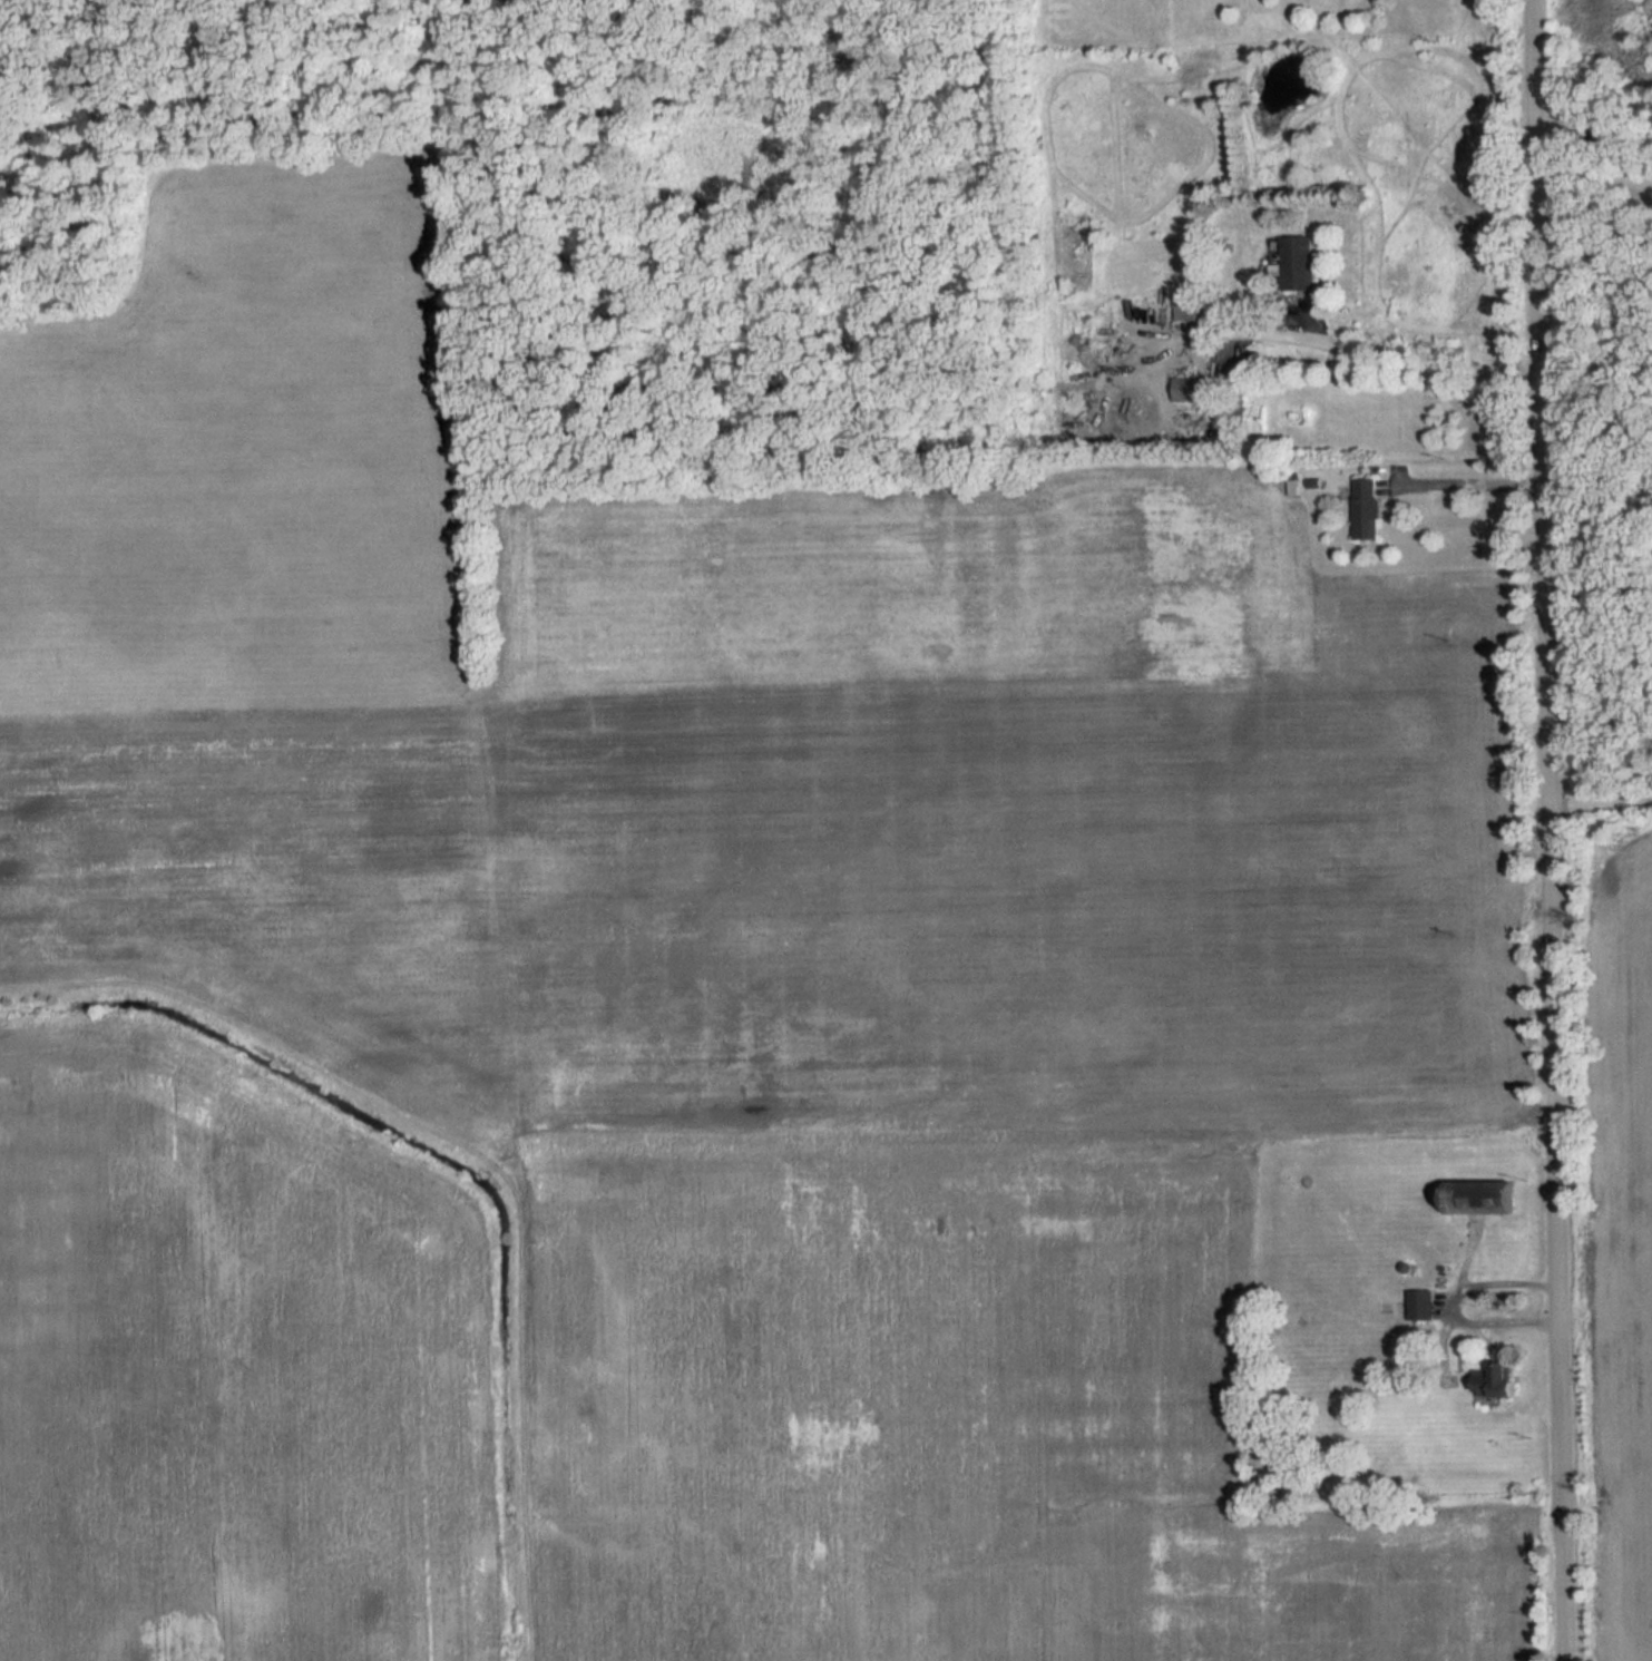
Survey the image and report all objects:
road: (1595, 136)
road: (1596, 192)
building: (1300, 264)
building: (1191, 309)
road: (1421, 368)
building: (1193, 389)
road: (1473, 486)
building: (1368, 509)
road: (1600, 589)
road: (1602, 807)
road: (1552, 830)
building: (1483, 1195)
building: (1421, 1303)
road: (1456, 1309)
building: (1498, 1379)

